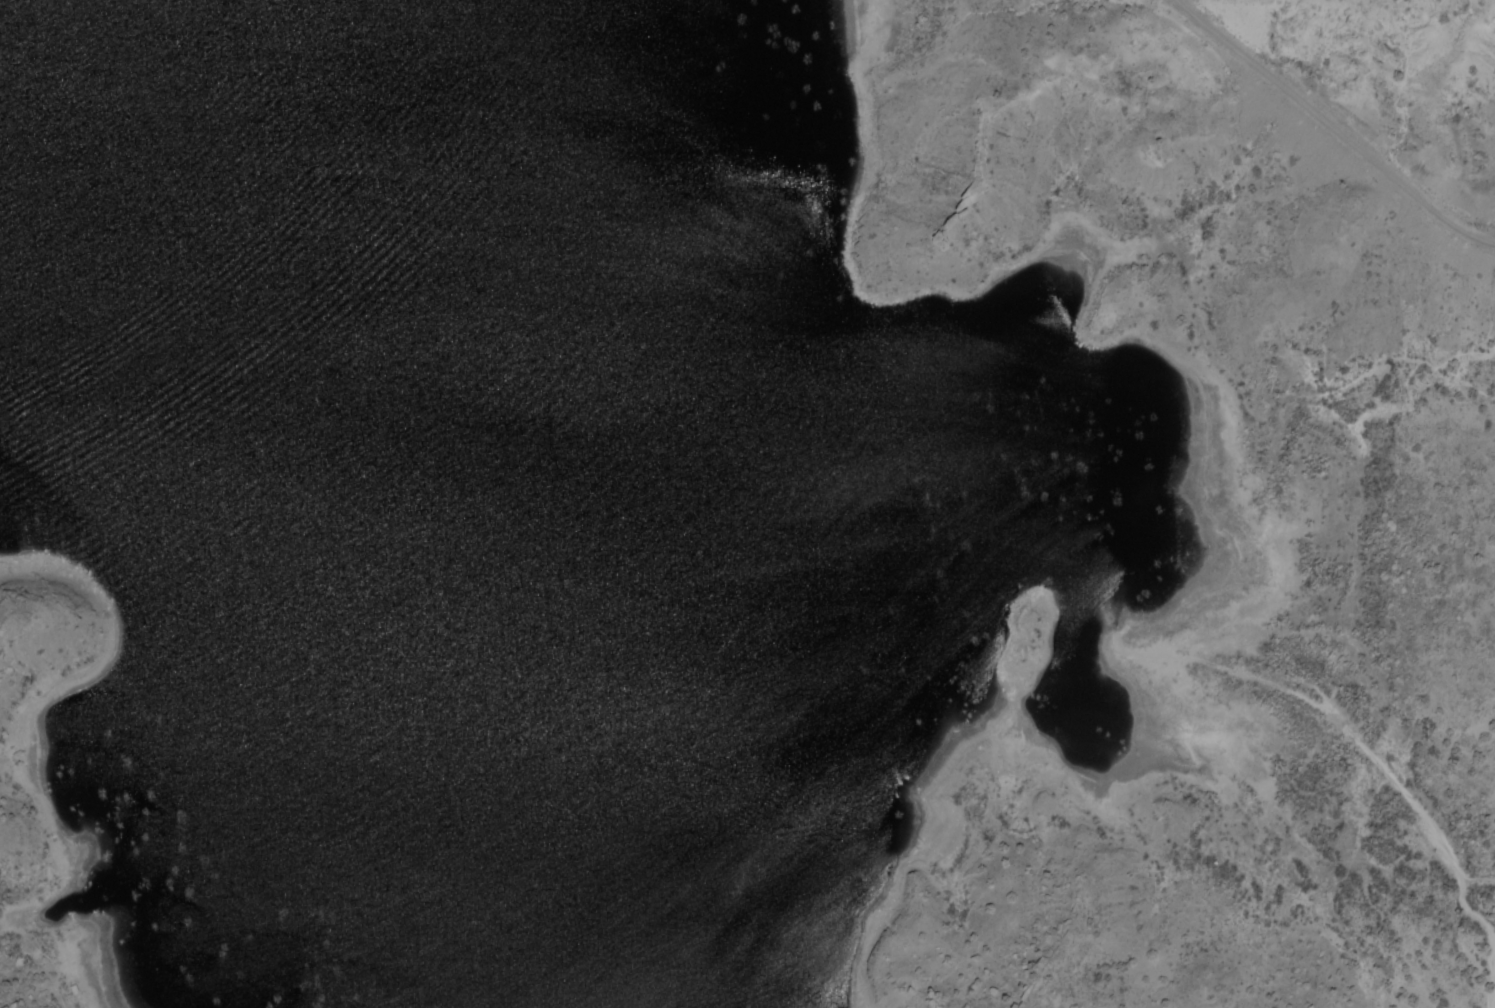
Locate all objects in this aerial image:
road: (1333, 128)

